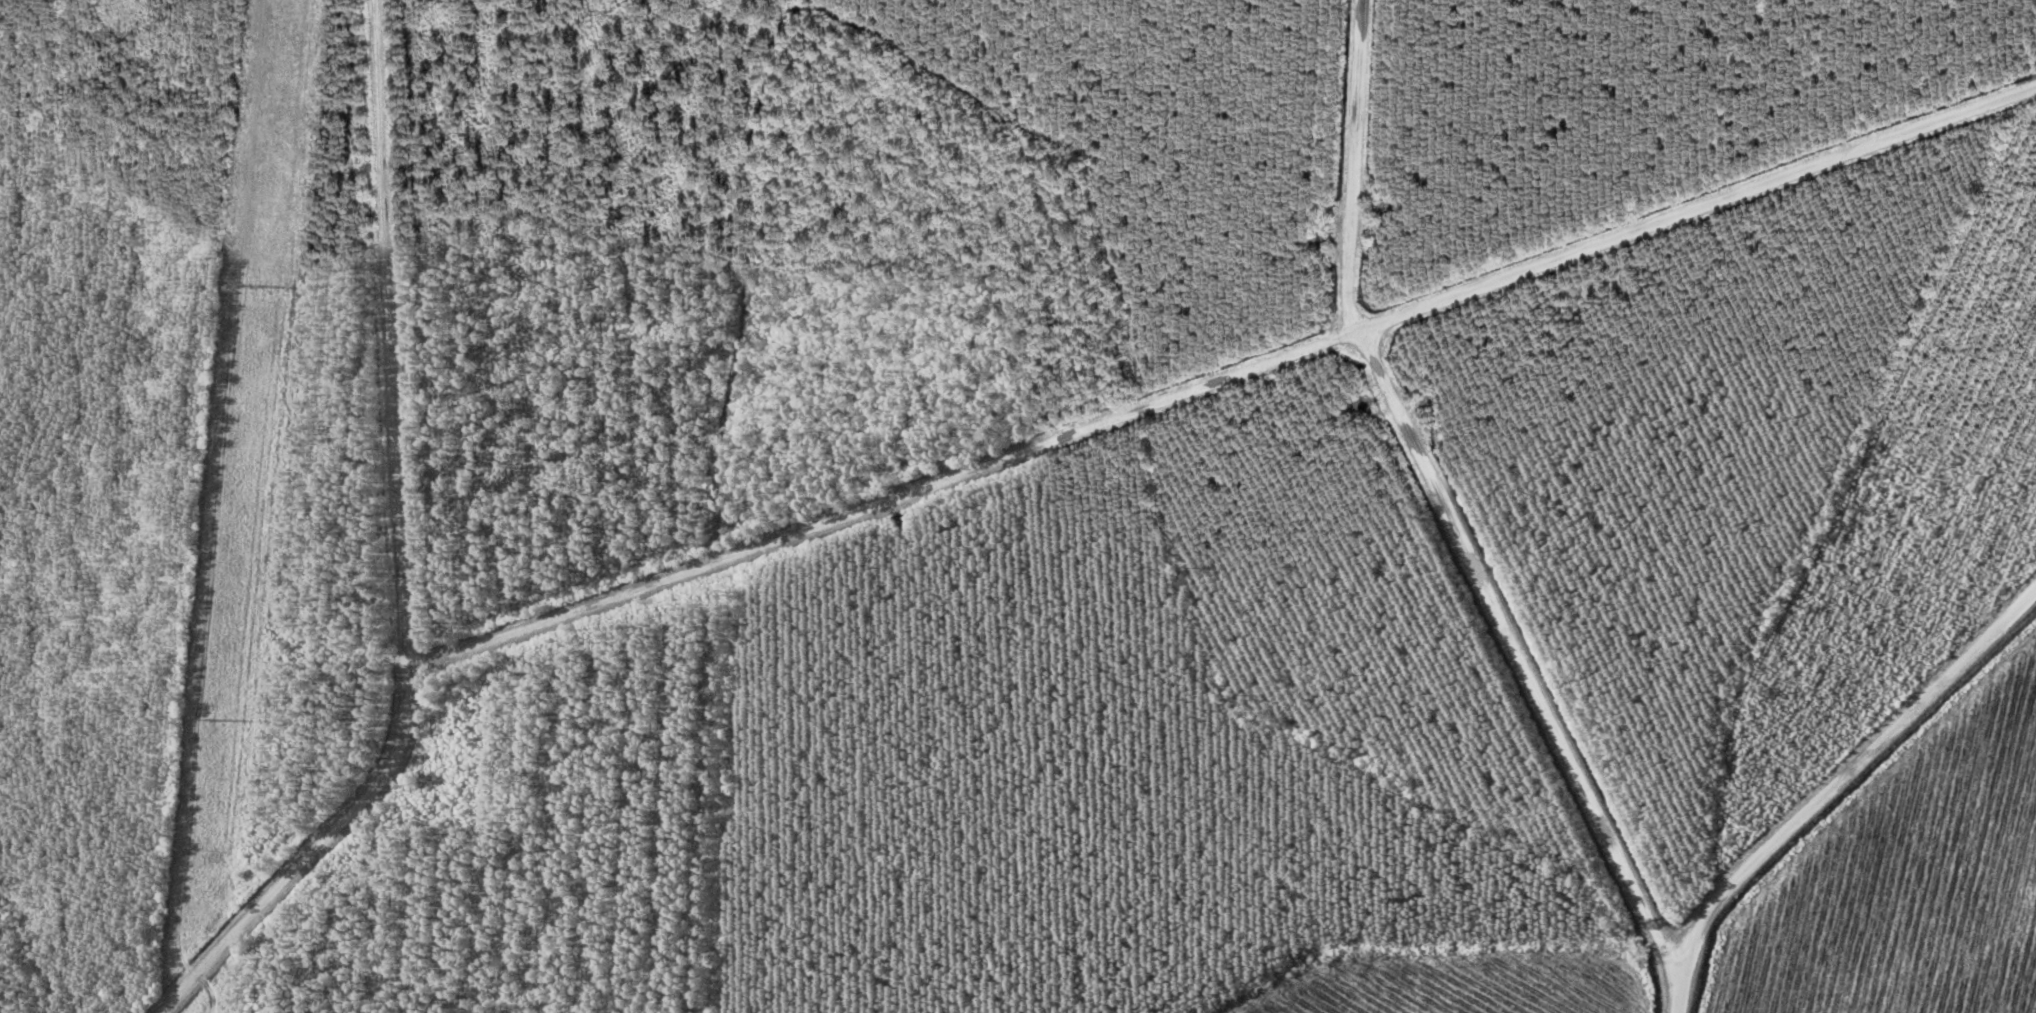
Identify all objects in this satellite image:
power tower: (256, 287)
road: (1229, 369)
road: (408, 557)
power tower: (214, 721)
road: (1534, 738)

